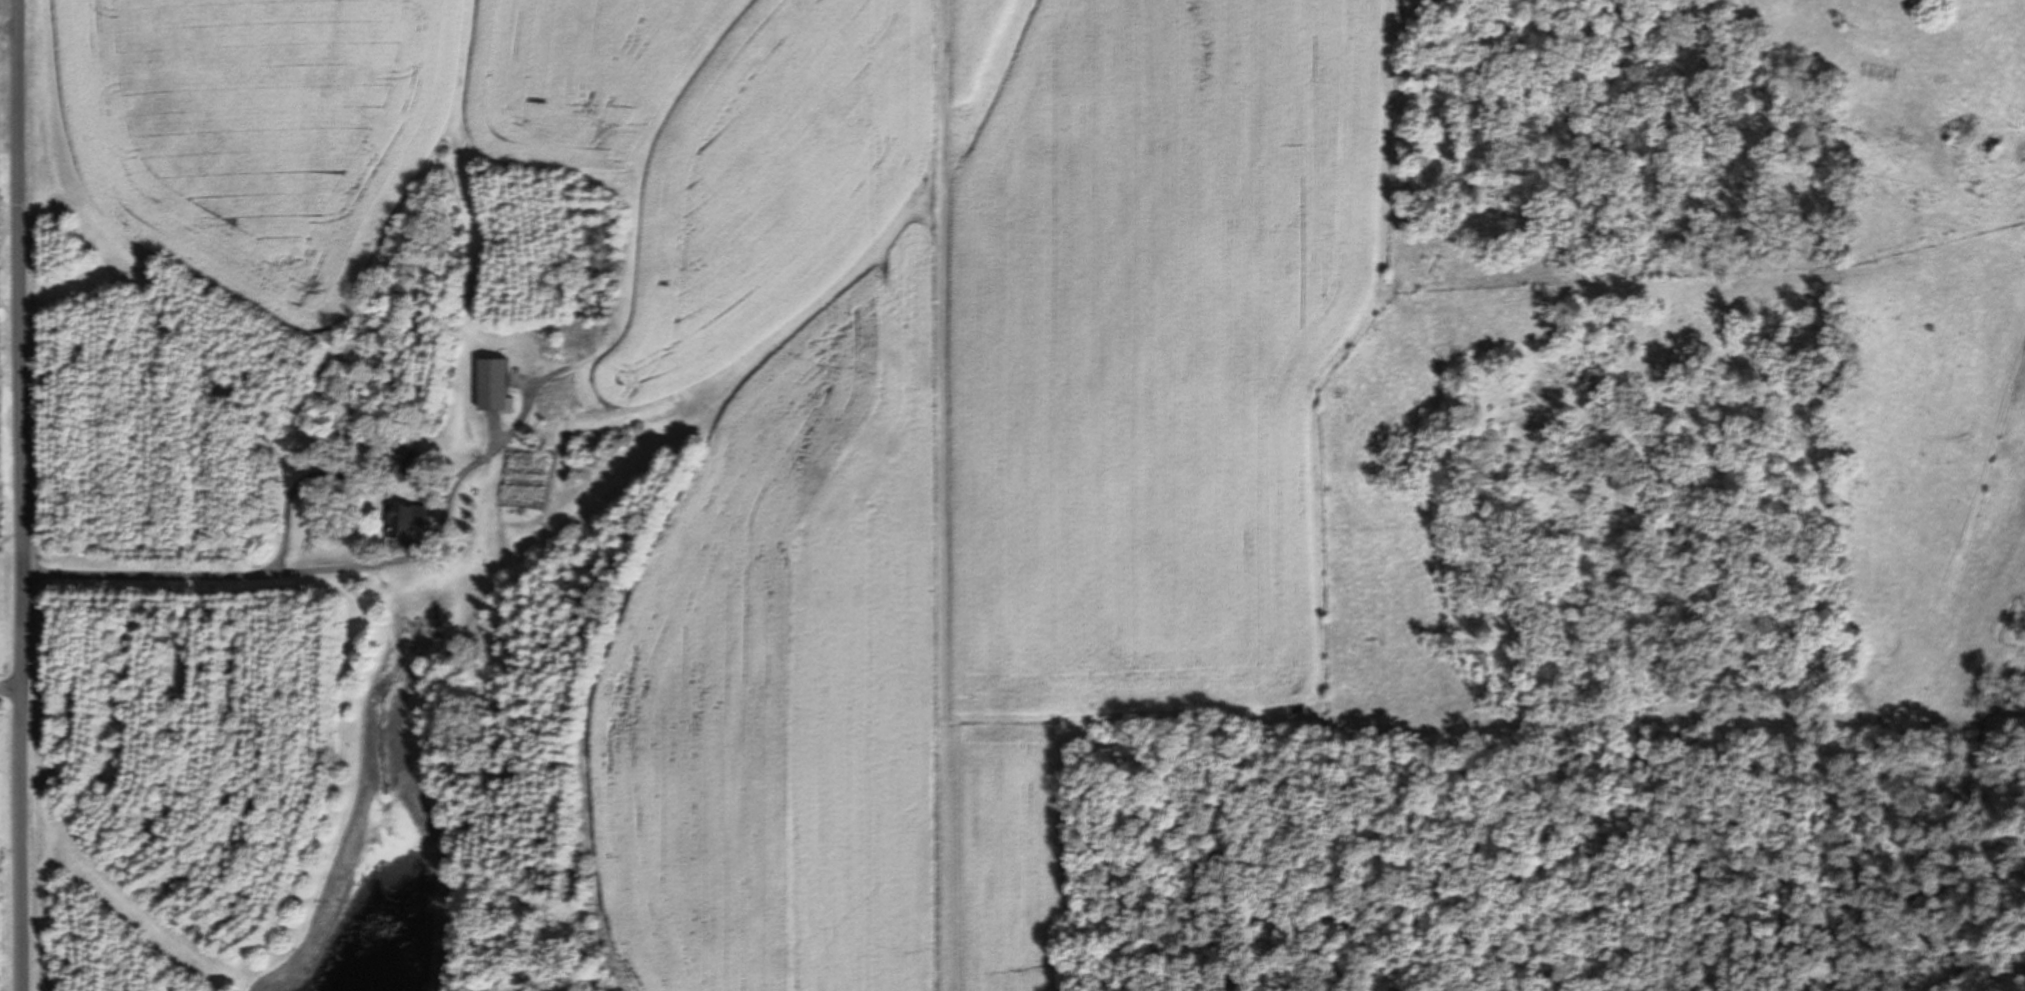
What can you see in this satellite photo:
road: (9, 28)
park: (9, 59)
building: (490, 382)
building: (395, 455)
road: (28, 495)
building: (405, 517)
road: (227, 576)

